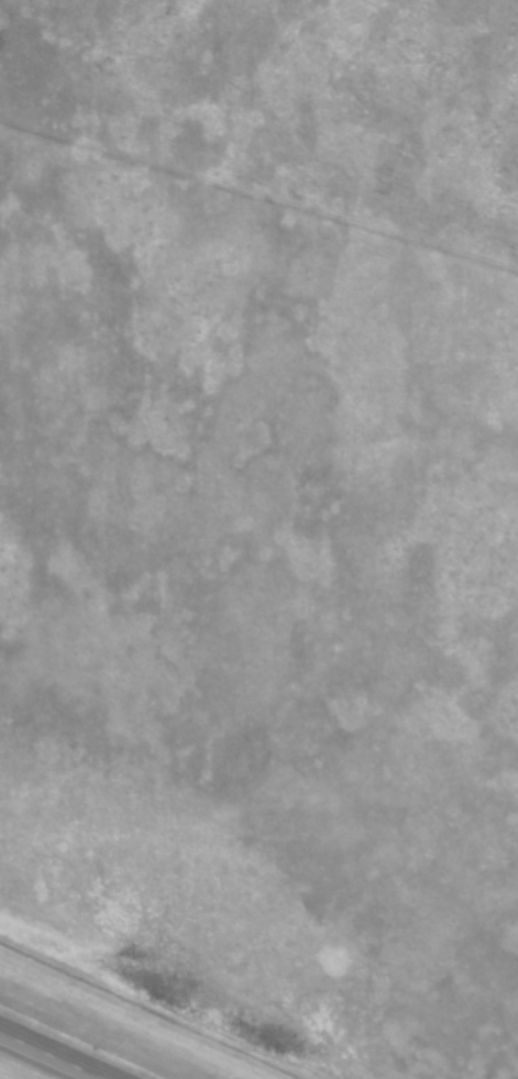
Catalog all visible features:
road: (51, 1056)

